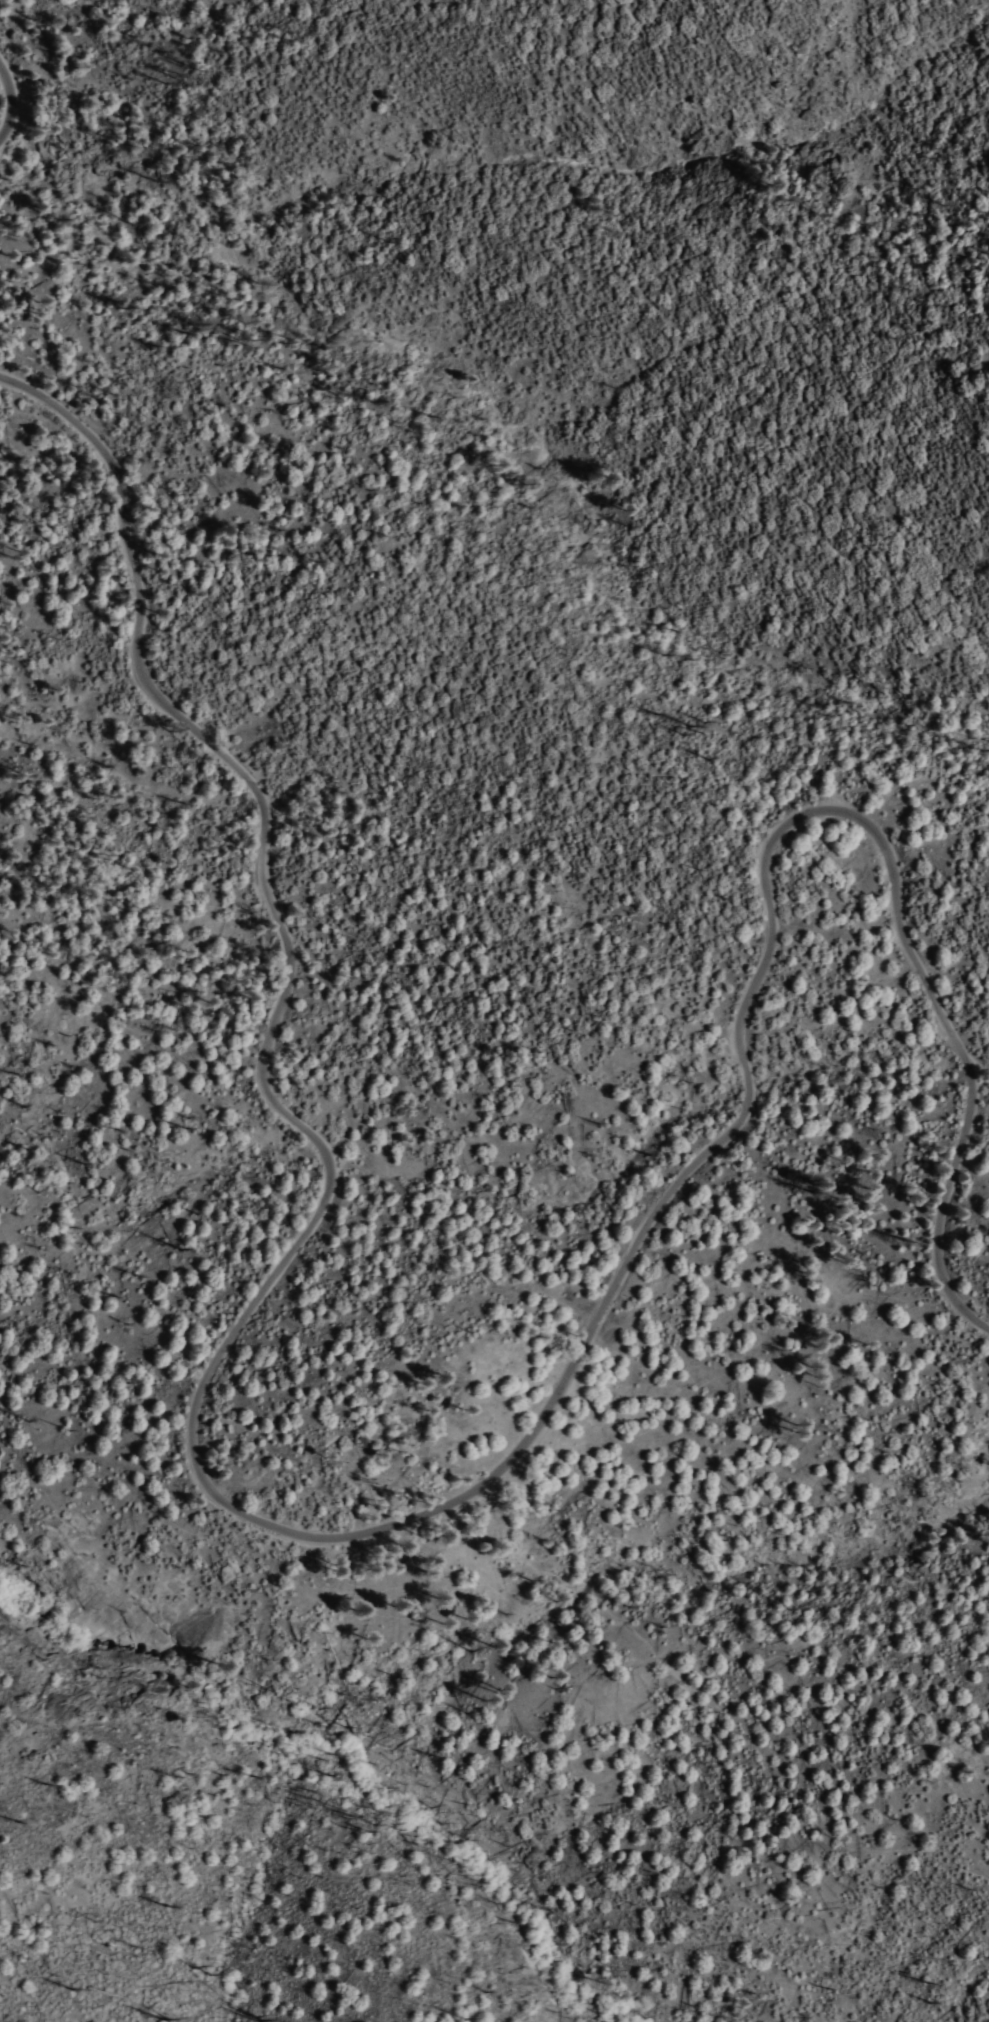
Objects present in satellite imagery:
road: (12, 98)
road: (397, 1524)

